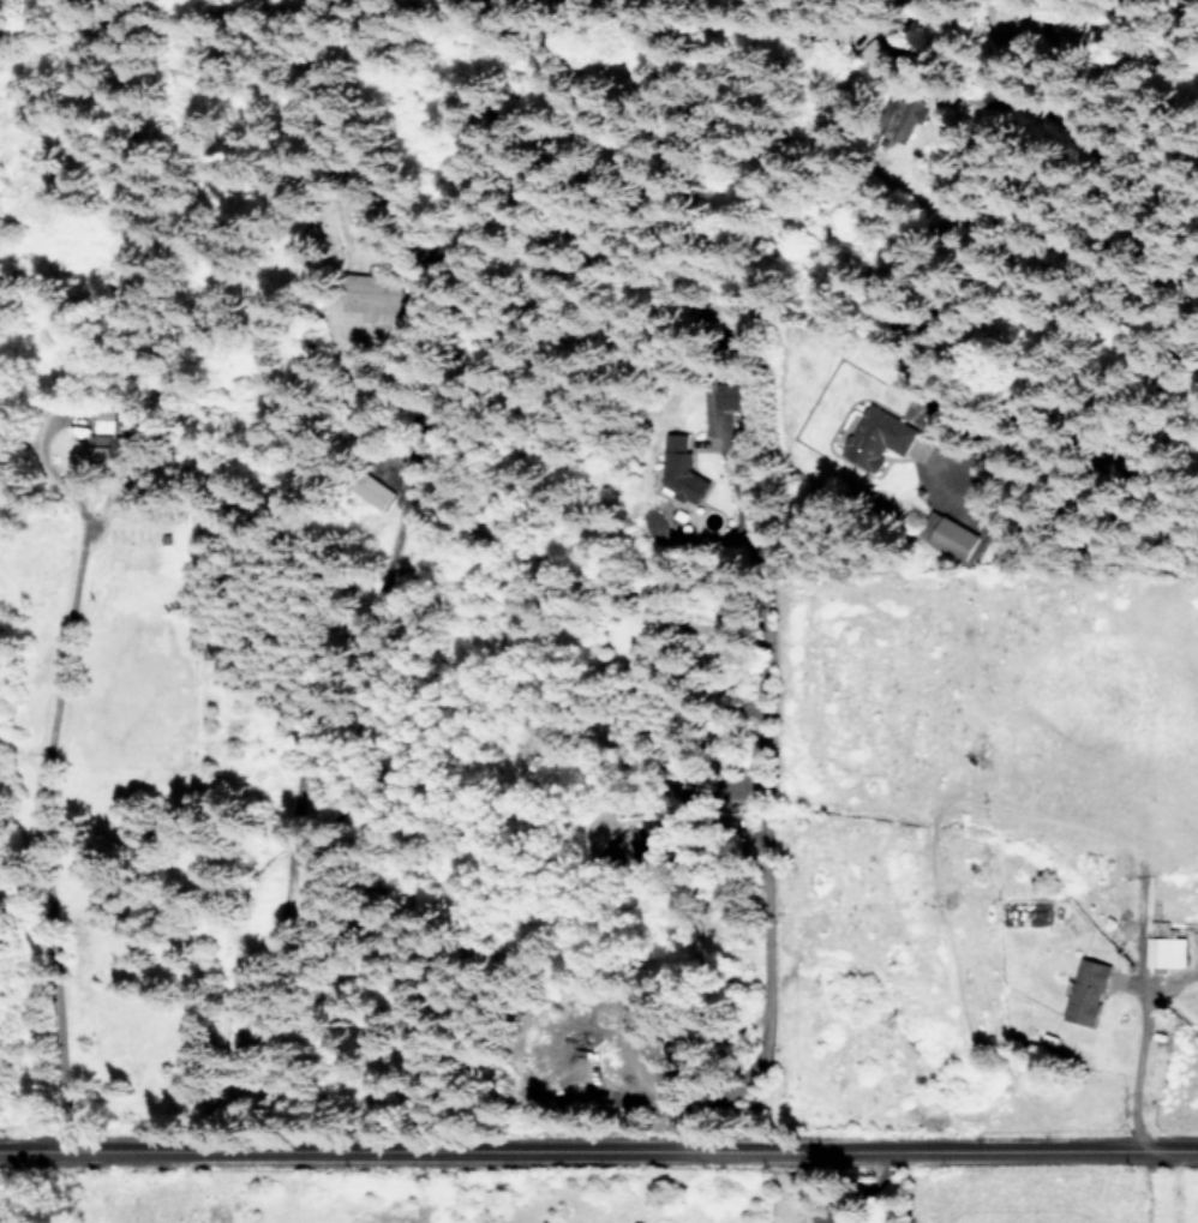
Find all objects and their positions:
building: (372, 295)
building: (877, 437)
building: (101, 446)
building: (682, 475)
building: (372, 490)
building: (947, 534)
road: (754, 816)
road: (46, 833)
building: (1166, 951)
building: (1086, 990)
road: (1128, 1051)
road: (599, 1149)

